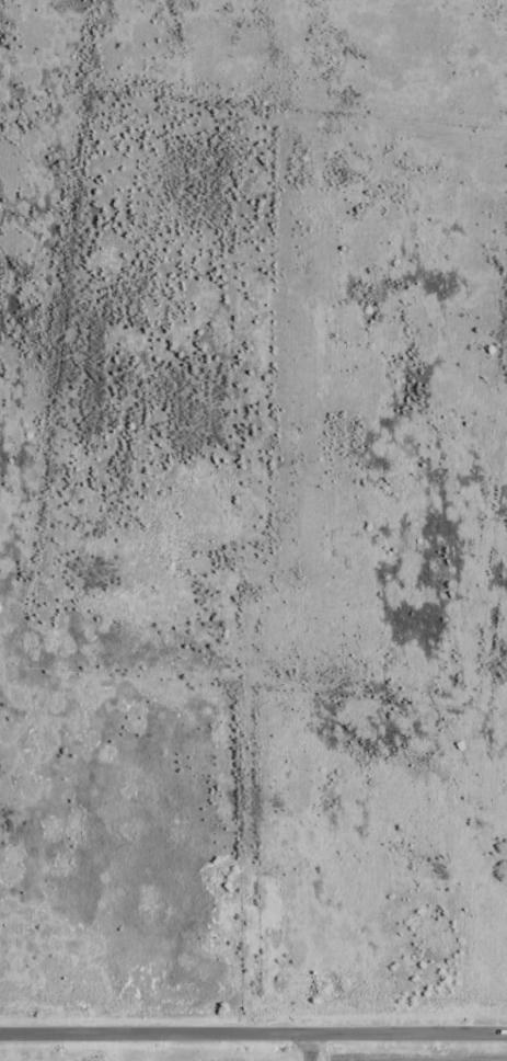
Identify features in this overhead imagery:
road: (253, 1033)
road: (310, 1047)
airport: (370, 1060)

